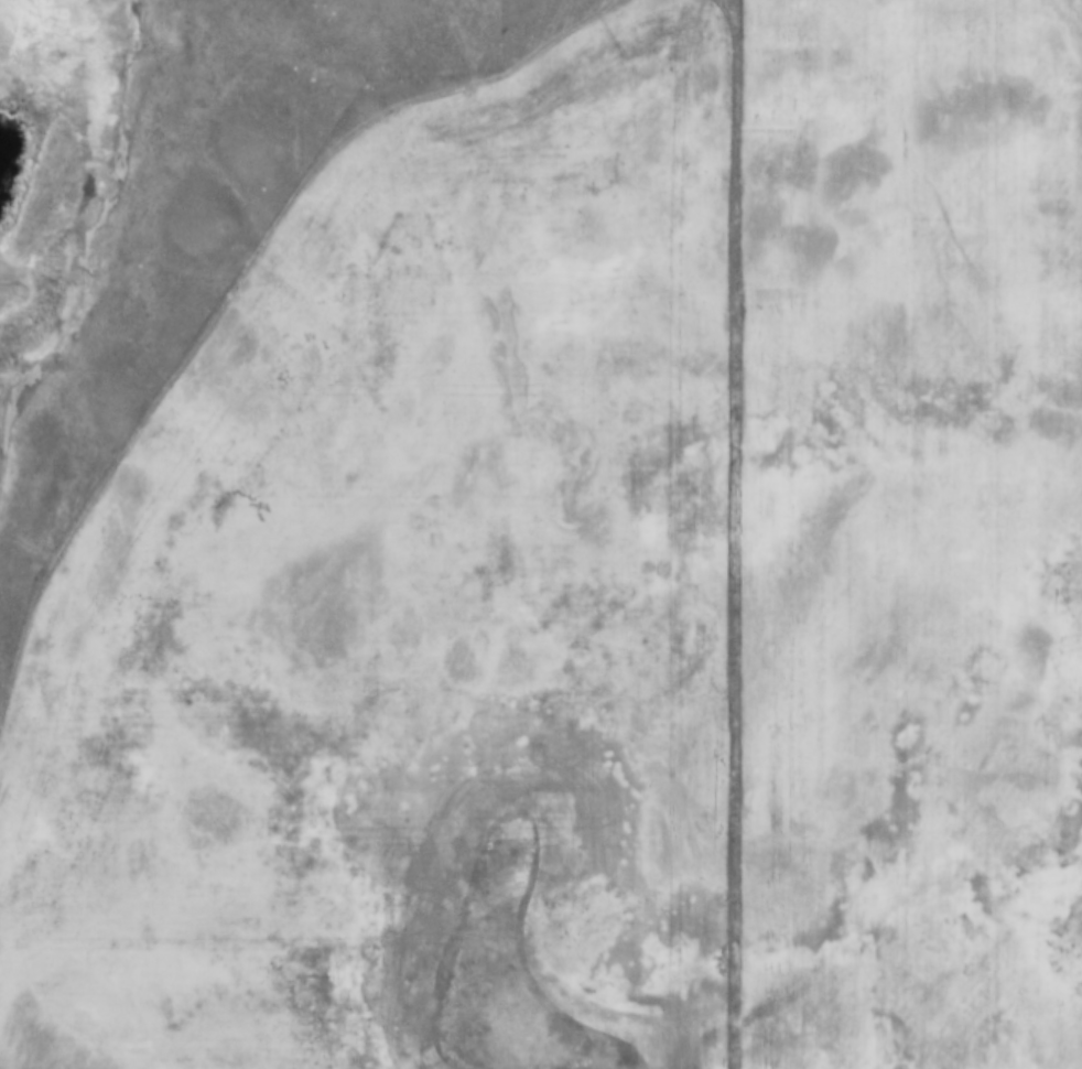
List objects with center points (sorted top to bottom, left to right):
road: (731, 534)

